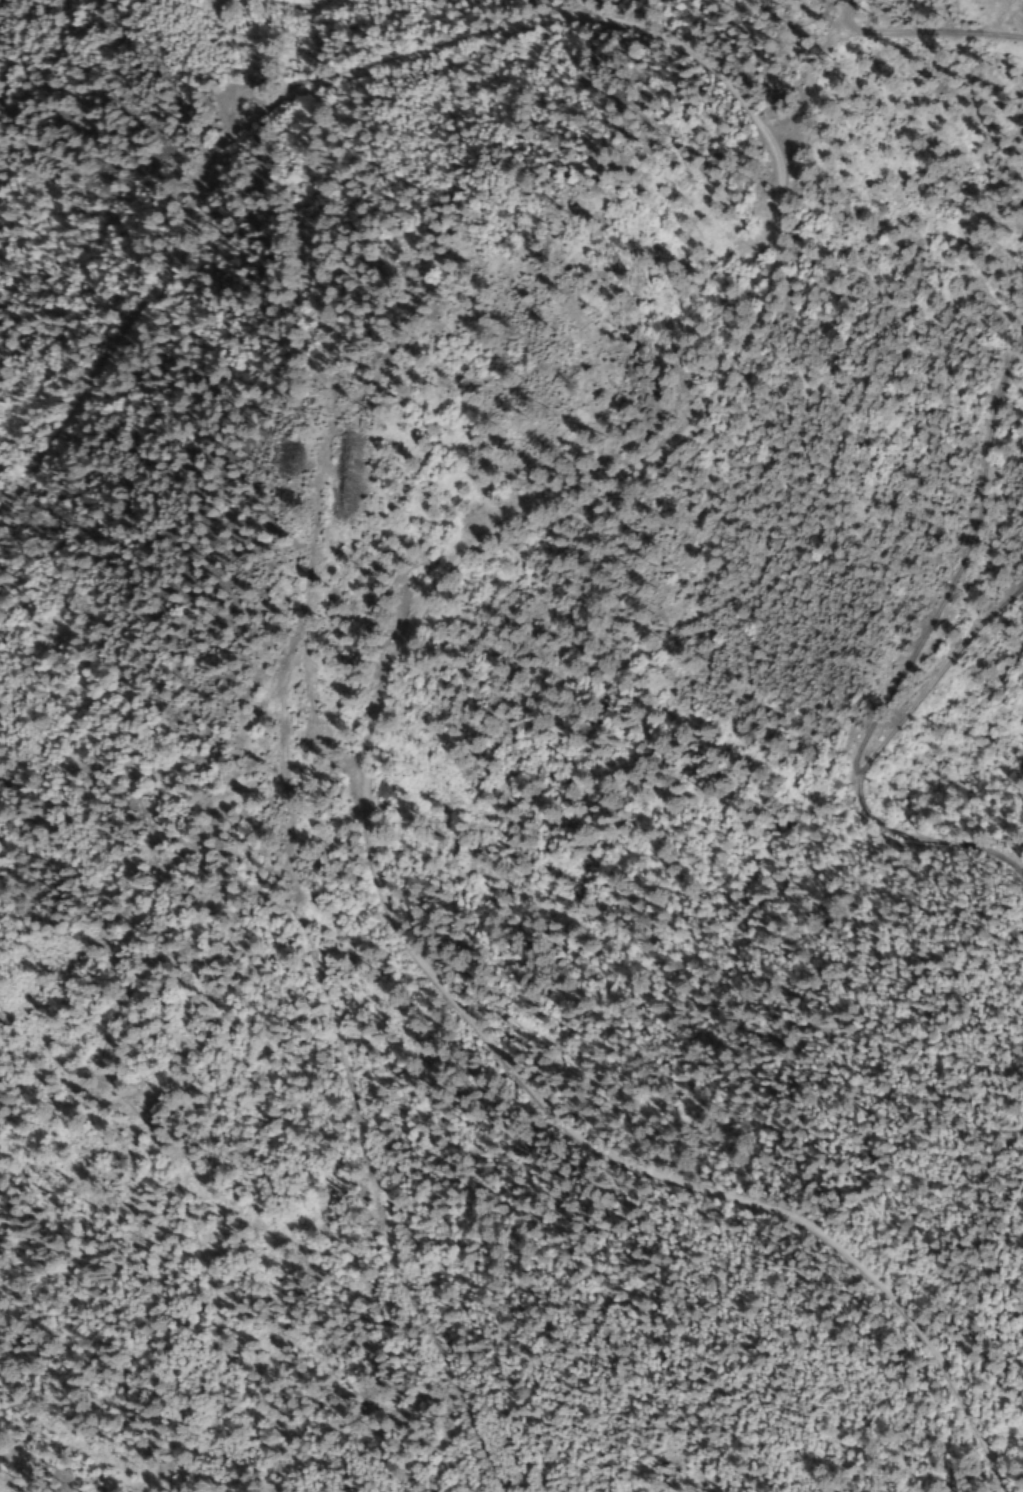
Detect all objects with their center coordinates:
road: (626, 468)

